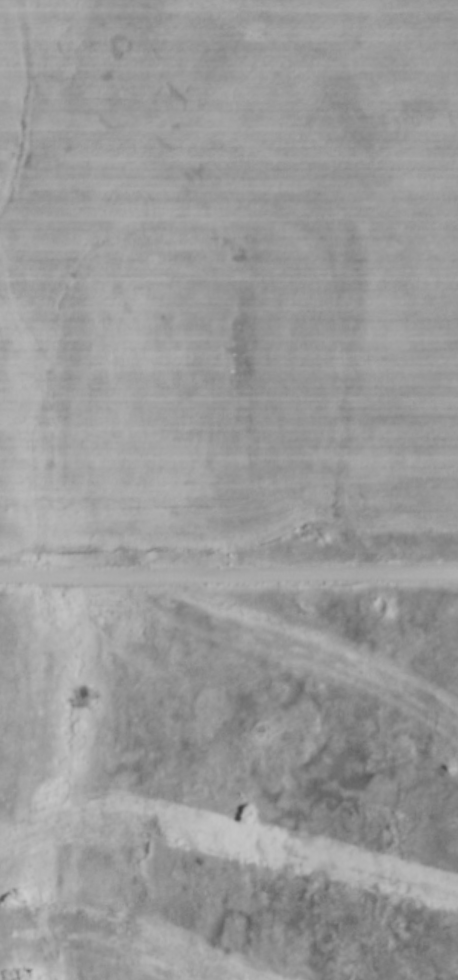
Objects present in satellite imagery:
road: (229, 580)

